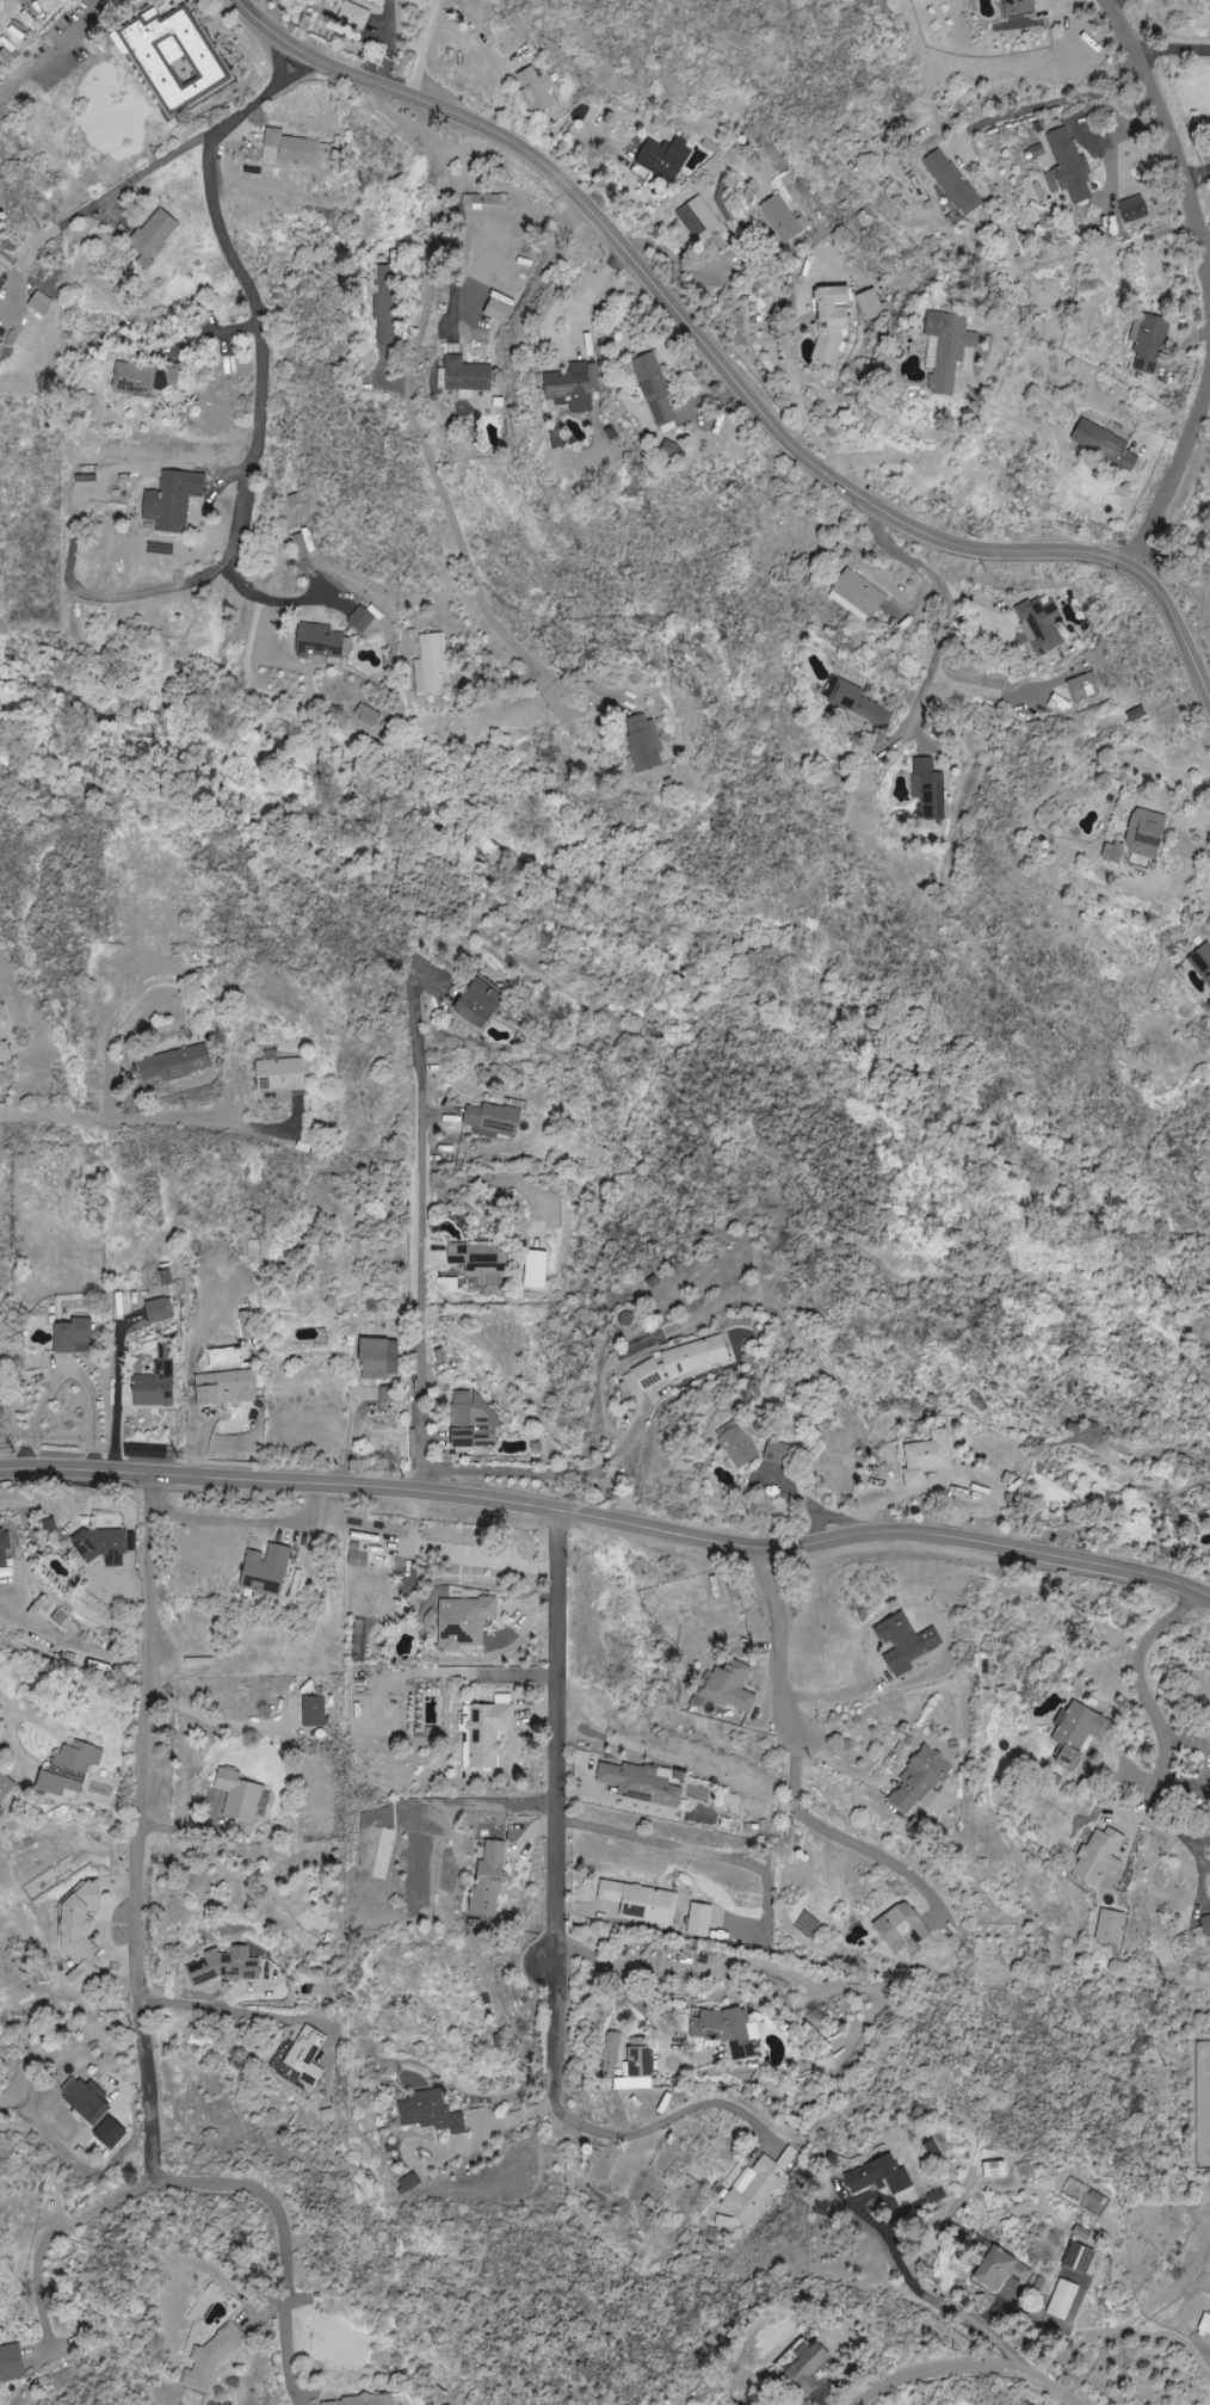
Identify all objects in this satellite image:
building: (1018, 7)
building: (356, 14)
road: (1173, 48)
road: (426, 49)
building: (174, 57)
road: (56, 62)
building: (536, 90)
road: (1042, 105)
building: (291, 148)
road: (1172, 149)
building: (666, 158)
building: (1070, 167)
road: (1198, 178)
building: (952, 183)
building: (492, 201)
road: (105, 209)
building: (1135, 209)
building: (700, 218)
building: (784, 218)
building: (155, 235)
road: (458, 261)
building: (0, 270)
road: (588, 296)
road: (251, 298)
building: (385, 303)
building: (42, 304)
building: (872, 304)
building: (833, 322)
building: (1148, 337)
building: (1, 345)
road: (726, 369)
building: (174, 375)
building: (468, 375)
building: (135, 378)
road: (408, 381)
road: (797, 381)
building: (573, 386)
building: (658, 390)
building: (1209, 425)
building: (1101, 444)
road: (951, 445)
road: (1180, 455)
building: (174, 499)
building: (863, 593)
road: (942, 616)
building: (362, 618)
building: (1039, 625)
building: (321, 641)
building: (432, 664)
building: (1080, 687)
building: (858, 703)
building: (369, 716)
building: (866, 740)
building: (643, 744)
building: (927, 788)
road: (1190, 835)
building: (1136, 837)
building: (1202, 963)
building: (482, 1003)
building: (5, 1048)
building: (179, 1062)
building: (283, 1072)
building: (495, 1120)
road: (122, 1121)
building: (482, 1259)
road: (430, 1268)
building: (537, 1269)
building: (161, 1309)
building: (75, 1336)
building: (226, 1356)
building: (381, 1357)
building: (158, 1383)
building: (228, 1386)
road: (118, 1390)
building: (388, 1393)
road: (94, 1406)
road: (39, 1416)
building: (782, 1453)
building: (930, 1456)
road: (552, 1475)
road: (42, 1503)
building: (783, 1505)
road: (609, 1512)
road: (249, 1522)
building: (104, 1546)
building: (5, 1547)
building: (268, 1568)
building: (462, 1621)
road: (43, 1627)
road: (772, 1634)
building: (907, 1642)
building: (733, 1688)
road: (834, 1697)
road: (1147, 1698)
building: (315, 1710)
road: (29, 1716)
road: (216, 1719)
building: (488, 1731)
building: (1079, 1732)
road: (558, 1735)
road: (12, 1740)
building: (73, 1768)
building: (642, 1782)
building: (6, 1786)
building: (241, 1795)
road: (144, 1826)
road: (853, 1842)
road: (1193, 1844)
building: (1103, 1855)
building: (492, 1880)
building: (643, 1901)
building: (703, 1919)
building: (1205, 1924)
building: (1111, 1925)
building: (905, 1926)
building: (84, 1932)
building: (227, 1965)
road: (621, 1981)
road: (222, 2009)
building: (730, 2030)
building: (613, 2053)
building: (309, 2055)
building: (640, 2066)
power substation: (1203, 2105)
building: (95, 2110)
building: (433, 2111)
building: (329, 2114)
road: (597, 2132)
road: (452, 2152)
building: (992, 2169)
building: (881, 2176)
building: (410, 2182)
building: (758, 2185)
building: (727, 2221)
road: (55, 2232)
road: (285, 2238)
building: (995, 2268)
road: (936, 2295)
building: (1061, 2299)
building: (1204, 2324)
building: (214, 2357)
building: (12, 2363)
building: (811, 2367)
road: (918, 2372)
road: (1032, 2376)
building: (362, 2400)

